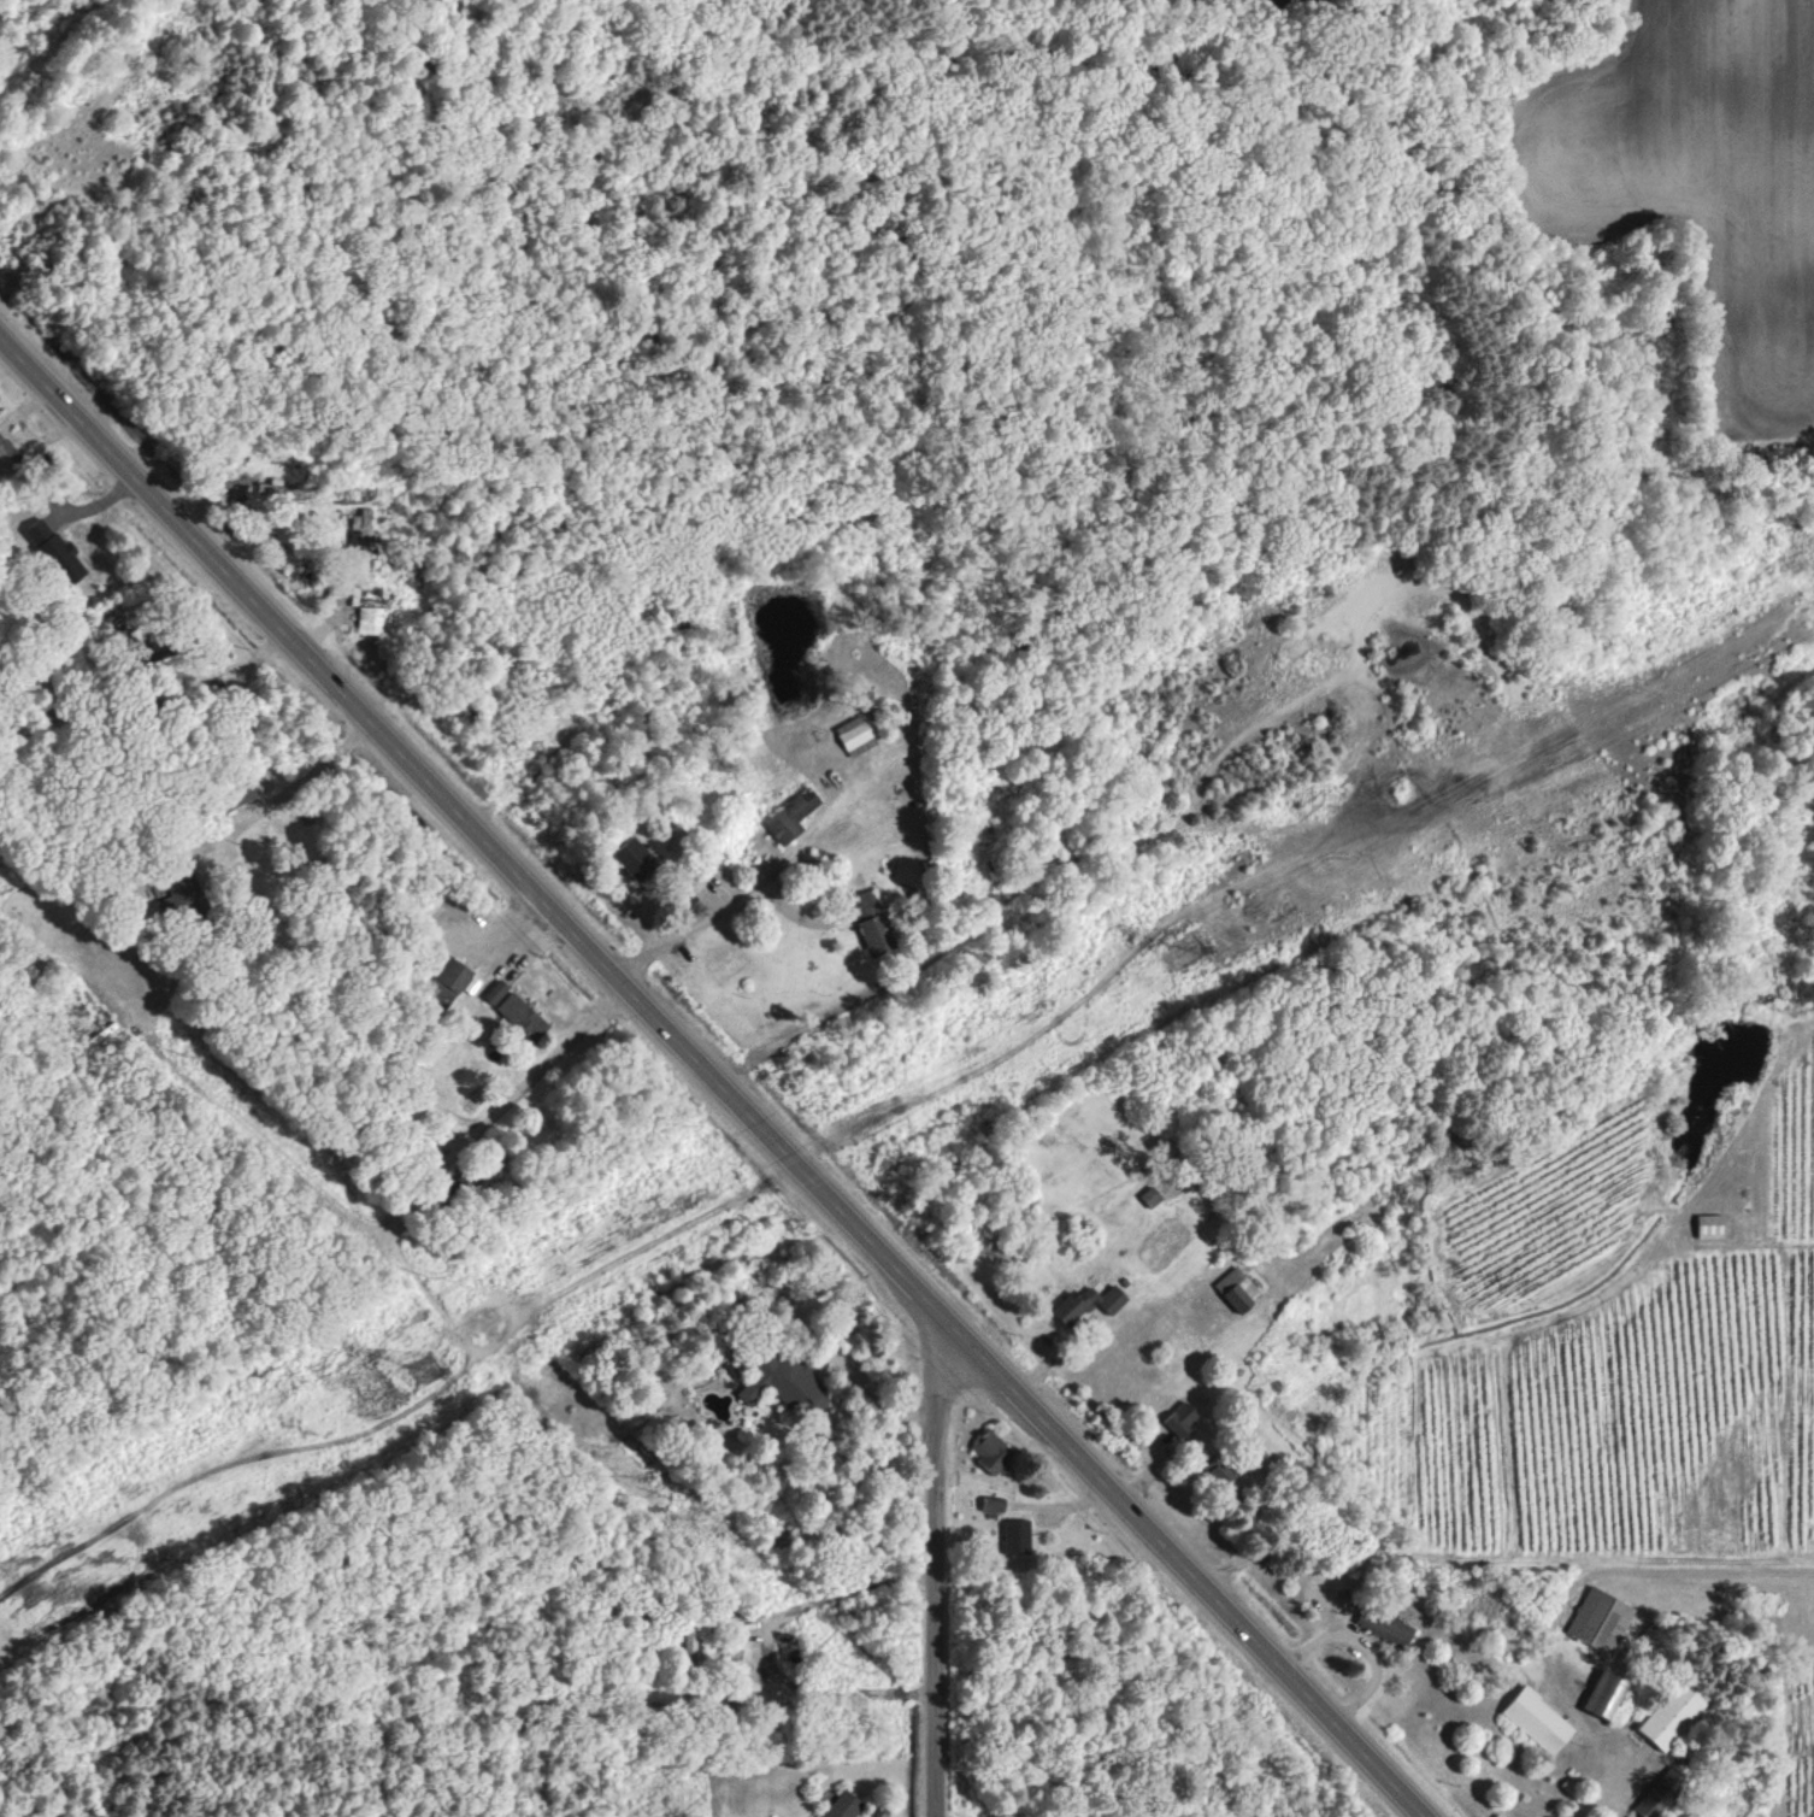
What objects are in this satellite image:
building: (271, 487)
building: (361, 528)
building: (52, 549)
building: (370, 619)
road: (220, 671)
building: (855, 735)
road: (300, 778)
building: (791, 816)
building: (635, 858)
building: (871, 923)
road: (690, 929)
power tower: (1192, 945)
building: (516, 1010)
road: (541, 1060)
road: (709, 1072)
building: (1150, 1196)
building: (1712, 1225)
building: (1236, 1288)
building: (1086, 1303)
power tower: (426, 1369)
building: (735, 1369)
building: (784, 1381)
building: (1180, 1417)
building: (991, 1451)
building: (1218, 1469)
building: (993, 1504)
building: (1017, 1535)
road: (924, 1557)
building: (1600, 1618)
building: (1383, 1624)
road: (765, 1641)
building: (1604, 1692)
building: (1671, 1713)
building: (1537, 1718)
road: (1606, 1782)
building: (1660, 1792)
building: (842, 1804)

